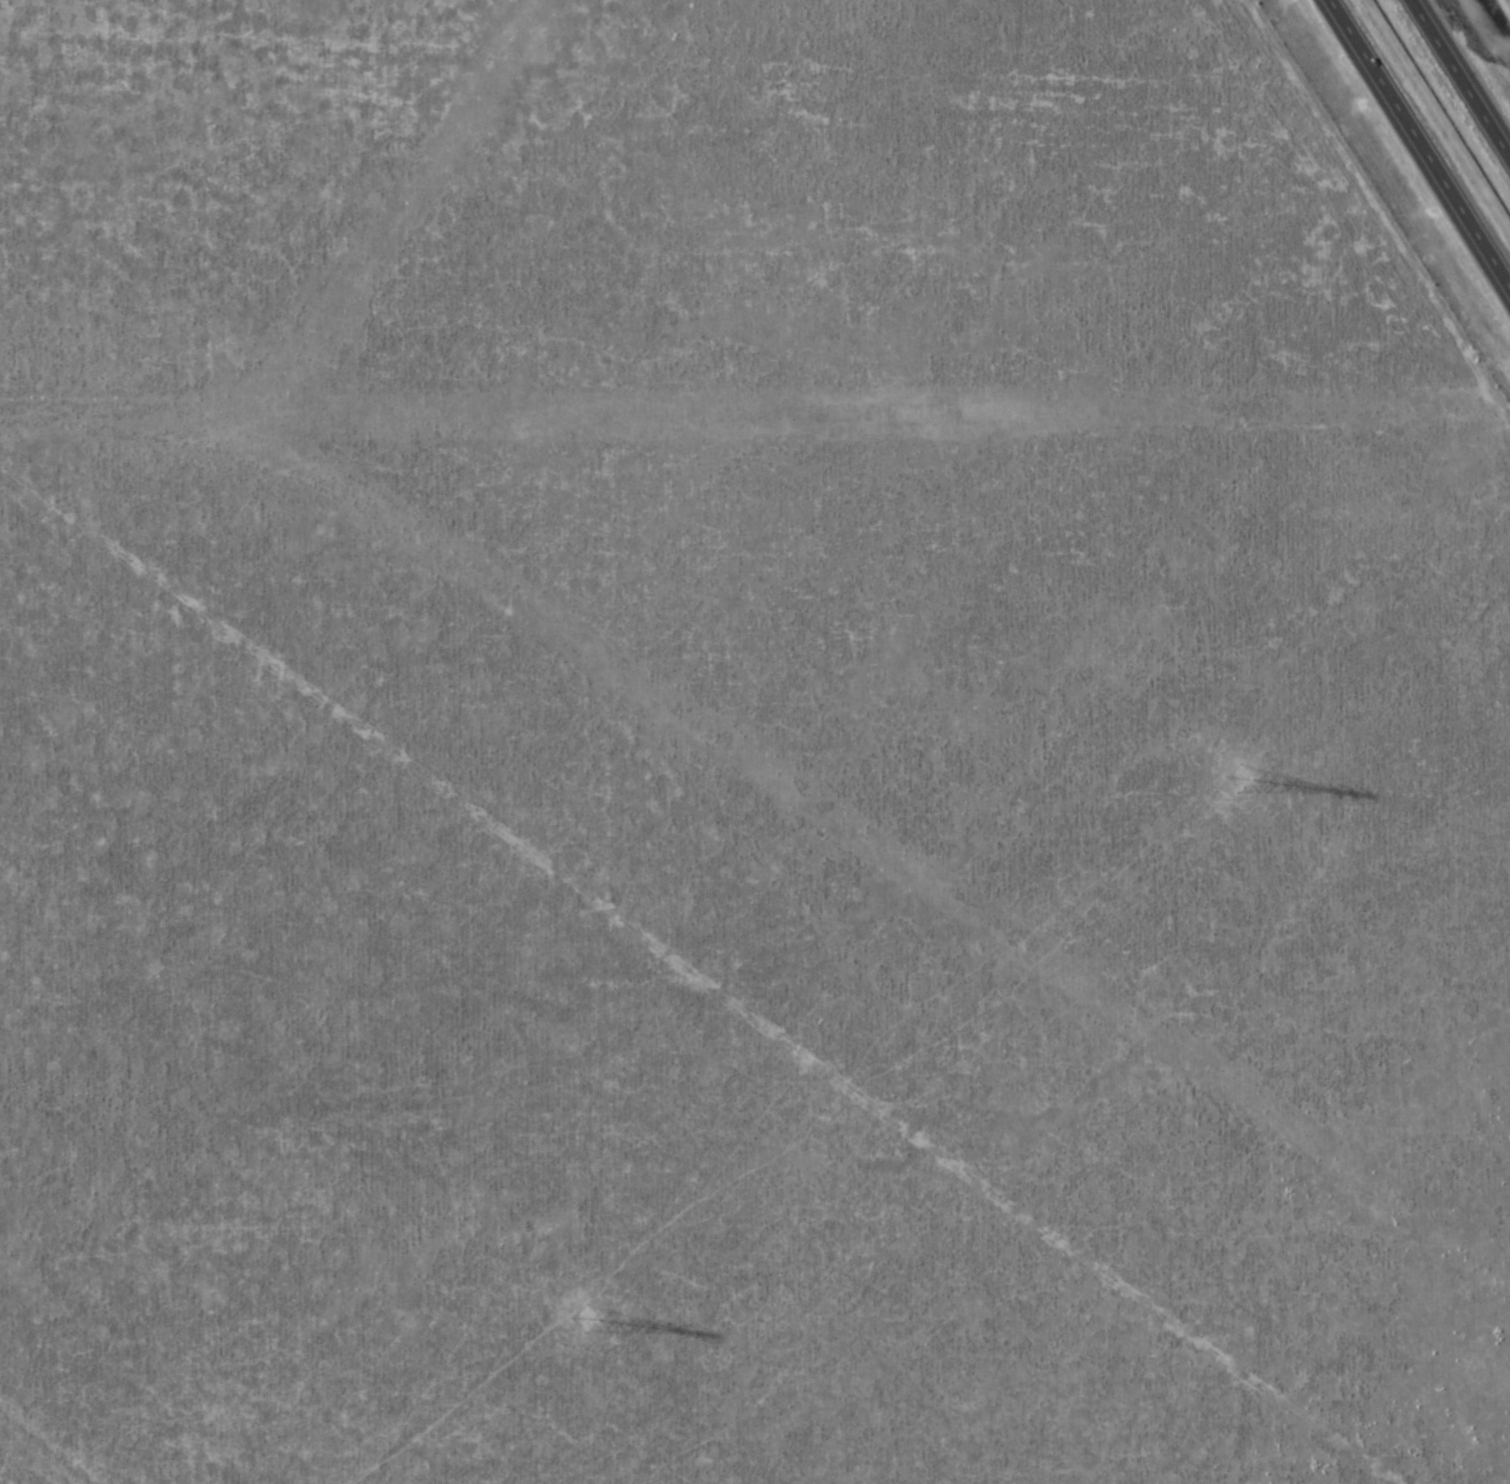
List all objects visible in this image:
road: (1460, 76)
road: (1422, 135)
power tower: (1238, 766)
power tower: (571, 1313)

